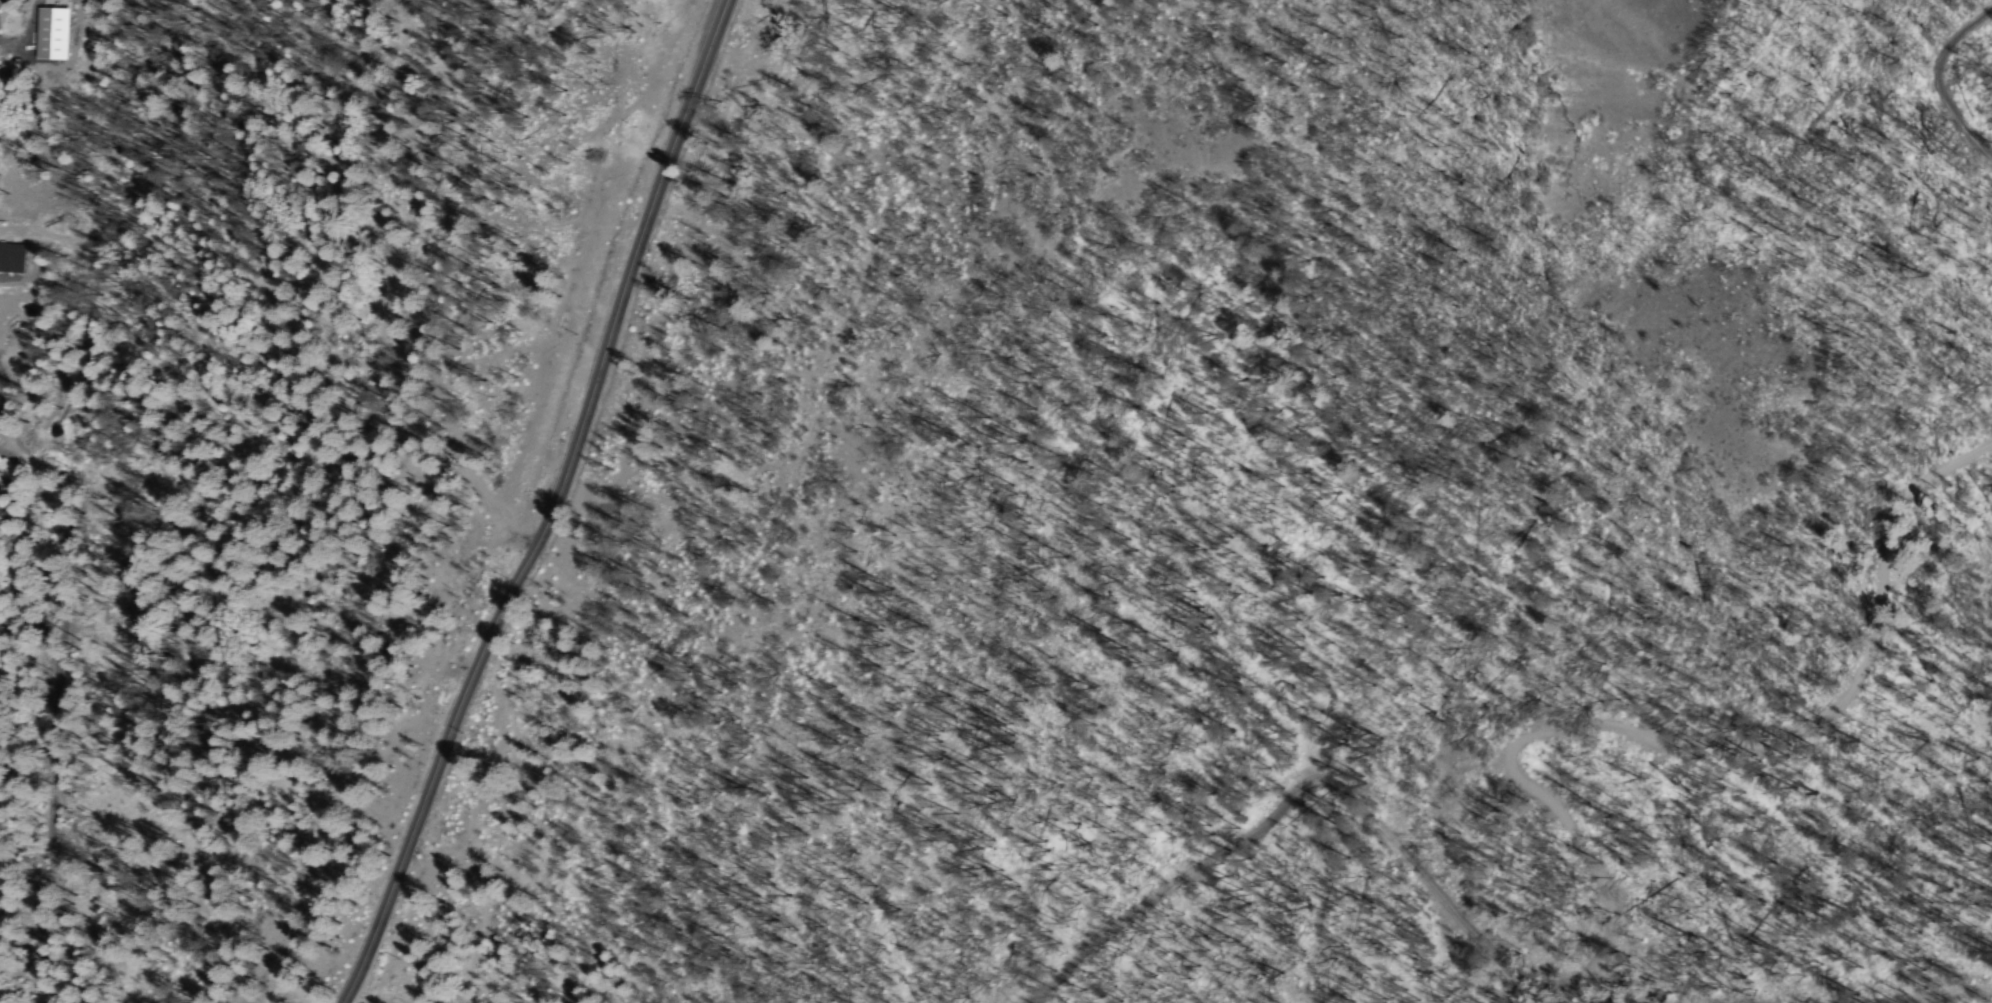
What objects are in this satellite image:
building: (47, 36)
road: (1954, 50)
road: (1, 482)
road: (551, 507)
road: (1520, 845)

